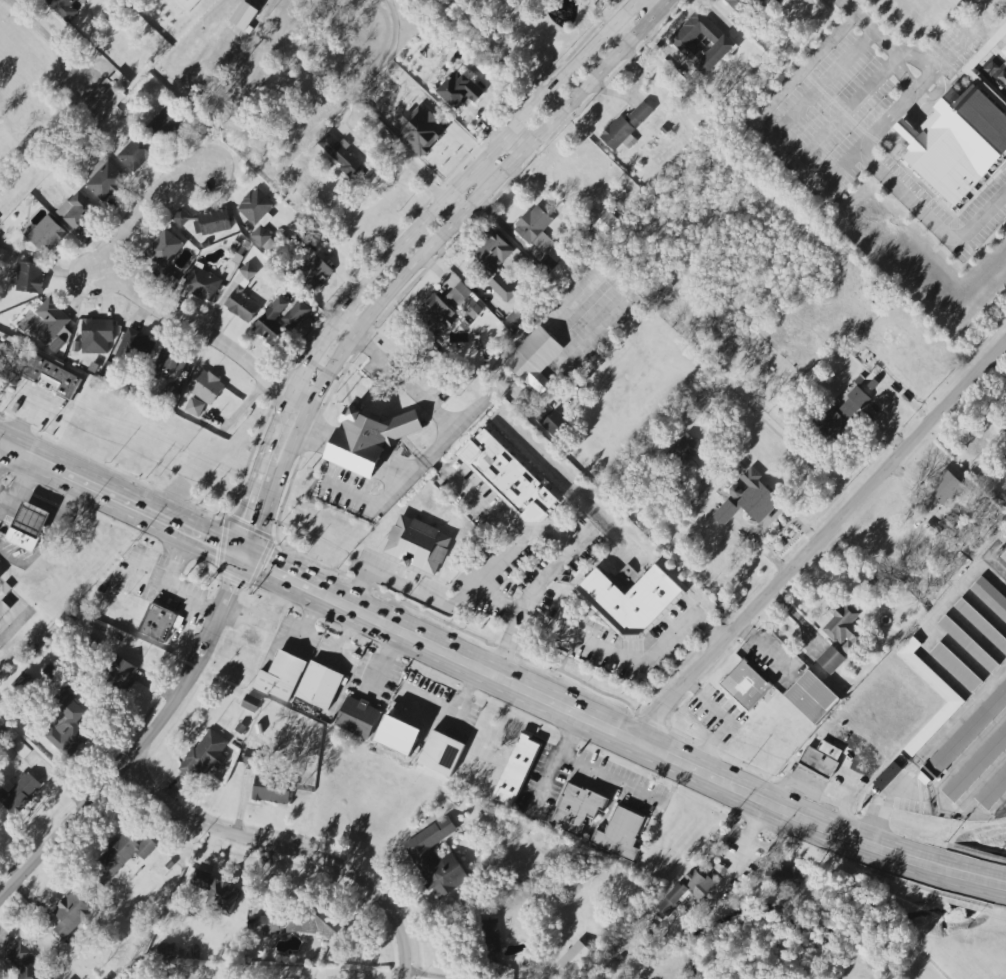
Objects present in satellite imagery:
building: (775, 2)
building: (188, 4)
road: (657, 4)
building: (738, 4)
building: (62, 8)
road: (604, 13)
building: (244, 15)
road: (971, 25)
road: (871, 32)
road: (49, 38)
building: (701, 42)
building: (1004, 50)
road: (931, 75)
building: (122, 80)
road: (903, 84)
road: (820, 86)
building: (459, 91)
building: (990, 93)
building: (99, 101)
road: (770, 103)
road: (842, 113)
building: (165, 122)
building: (626, 126)
road: (864, 144)
building: (957, 144)
building: (138, 153)
building: (343, 157)
road: (414, 167)
road: (483, 177)
building: (104, 179)
building: (77, 211)
building: (180, 217)
road: (931, 221)
building: (211, 222)
building: (601, 227)
building: (535, 229)
building: (46, 234)
building: (164, 248)
road: (397, 249)
road: (424, 255)
building: (494, 262)
building: (546, 265)
building: (248, 271)
building: (316, 271)
building: (27, 277)
building: (202, 282)
road: (144, 298)
building: (242, 305)
building: (435, 314)
building: (279, 320)
building: (51, 325)
road: (348, 326)
building: (94, 336)
road: (129, 340)
building: (133, 346)
building: (75, 347)
building: (534, 358)
building: (168, 364)
building: (11, 365)
building: (53, 376)
road: (406, 383)
building: (206, 386)
building: (169, 392)
building: (195, 408)
building: (552, 422)
road: (21, 424)
building: (1004, 428)
building: (368, 438)
building: (683, 449)
road: (8, 462)
building: (508, 478)
road: (21, 486)
road: (401, 486)
building: (946, 488)
building: (1004, 496)
road: (4, 498)
road: (474, 498)
building: (747, 499)
road: (57, 510)
traffic signals: (242, 520)
building: (951, 525)
building: (28, 526)
road: (818, 542)
traffic signals: (218, 543)
building: (416, 546)
building: (1003, 557)
traffic signals: (265, 566)
building: (0, 575)
traffic signals: (234, 585)
road: (169, 586)
road: (358, 588)
building: (6, 589)
road: (469, 589)
road: (530, 593)
building: (990, 597)
building: (630, 600)
building: (4, 610)
building: (156, 624)
building: (981, 625)
building: (843, 626)
road: (486, 643)
building: (967, 644)
road: (606, 652)
road: (564, 653)
road: (463, 659)
building: (830, 659)
building: (955, 667)
building: (122, 674)
building: (280, 677)
building: (930, 677)
building: (23, 682)
building: (319, 686)
building: (746, 686)
building: (812, 698)
building: (251, 704)
building: (65, 717)
building: (357, 717)
building: (241, 729)
building: (966, 732)
road: (146, 744)
building: (205, 754)
building: (441, 754)
road: (554, 760)
building: (977, 766)
building: (516, 770)
building: (887, 775)
road: (608, 776)
building: (825, 779)
building: (266, 780)
building: (993, 791)
building: (18, 792)
building: (577, 809)
building: (620, 833)
road: (748, 837)
road: (295, 849)
building: (120, 856)
building: (436, 859)
building: (785, 876)
road: (968, 876)
building: (216, 890)
building: (686, 890)
building: (71, 915)
building: (300, 923)
building: (489, 939)
building: (166, 951)
building: (574, 957)
building: (23, 963)

